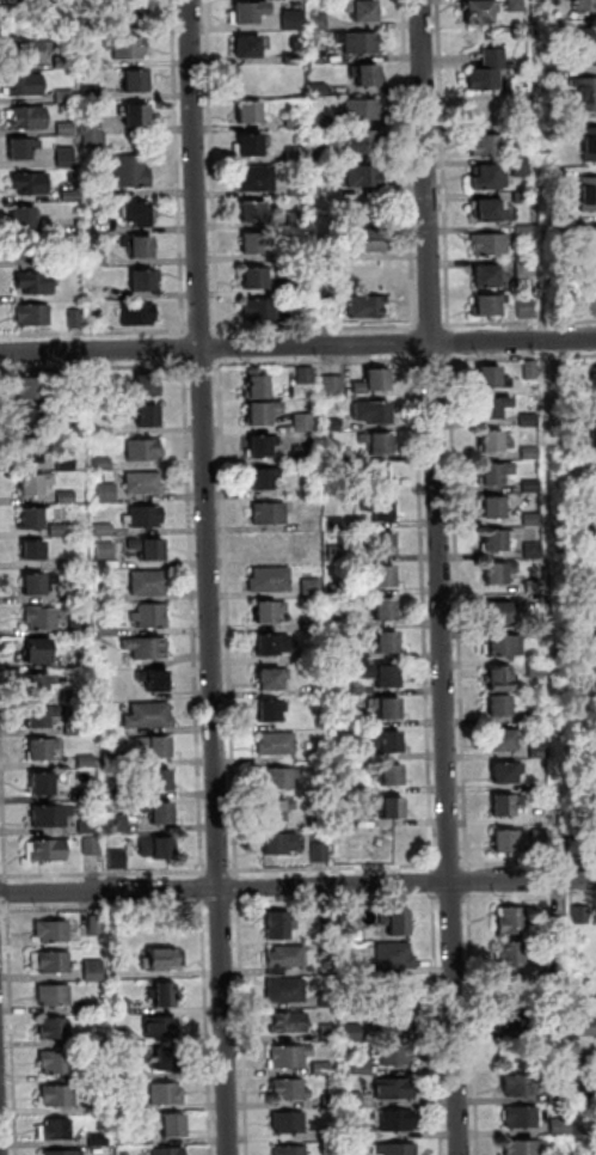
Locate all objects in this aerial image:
building: (61, 1)
building: (517, 6)
building: (135, 7)
building: (585, 7)
building: (365, 13)
building: (251, 14)
building: (478, 16)
building: (135, 20)
building: (295, 20)
building: (320, 22)
building: (361, 43)
building: (128, 49)
building: (250, 49)
building: (589, 50)
building: (32, 51)
building: (496, 59)
building: (295, 60)
building: (64, 63)
building: (557, 72)
building: (368, 75)
building: (486, 80)
building: (140, 82)
building: (26, 86)
building: (320, 90)
building: (92, 93)
building: (66, 96)
building: (585, 97)
building: (518, 98)
building: (362, 111)
building: (487, 114)
building: (251, 115)
building: (137, 116)
building: (27, 118)
building: (296, 122)
building: (321, 122)
building: (68, 129)
building: (522, 132)
building: (94, 134)
building: (364, 146)
building: (590, 146)
building: (251, 147)
building: (489, 147)
building: (24, 149)
building: (321, 153)
building: (297, 154)
building: (67, 157)
building: (523, 169)
building: (133, 172)
building: (559, 176)
building: (365, 178)
building: (258, 179)
building: (490, 181)
building: (32, 185)
building: (300, 189)
building: (97, 191)
building: (589, 195)
building: (73, 196)
building: (524, 197)
building: (257, 214)
building: (491, 214)
building: (139, 216)
building: (559, 218)
building: (26, 220)
building: (299, 220)
building: (98, 224)
building: (524, 231)
building: (370, 243)
building: (254, 245)
building: (491, 245)
building: (591, 245)
building: (141, 250)
building: (25, 252)
building: (331, 252)
building: (299, 255)
building: (97, 257)
building: (61, 261)
building: (527, 268)
building: (259, 279)
building: (487, 280)
building: (147, 282)
building: (37, 285)
building: (305, 286)
building: (104, 293)
building: (590, 297)
building: (490, 307)
building: (370, 308)
building: (527, 308)
building: (559, 308)
building: (266, 310)
building: (328, 311)
building: (33, 316)
building: (139, 316)
building: (78, 318)
building: (100, 319)
road: (297, 326)
road: (297, 346)
building: (533, 371)
building: (561, 373)
building: (307, 377)
building: (494, 380)
building: (595, 383)
building: (375, 384)
building: (76, 385)
building: (103, 385)
building: (334, 387)
building: (32, 389)
building: (258, 389)
building: (145, 390)
building: (494, 410)
building: (264, 415)
building: (374, 416)
building: (147, 417)
building: (32, 421)
building: (532, 421)
building: (306, 423)
building: (334, 426)
building: (76, 430)
building: (571, 441)
building: (592, 441)
building: (379, 445)
building: (492, 446)
building: (263, 448)
building: (146, 451)
building: (533, 454)
building: (306, 456)
building: (32, 457)
building: (334, 457)
building: (68, 463)
building: (104, 464)
building: (571, 469)
building: (497, 475)
building: (595, 478)
building: (265, 481)
building: (146, 484)
building: (36, 487)
building: (534, 487)
building: (107, 493)
building: (68, 497)
building: (497, 509)
building: (380, 512)
building: (272, 513)
building: (575, 517)
building: (146, 519)
building: (534, 520)
building: (36, 521)
building: (338, 524)
building: (595, 530)
building: (105, 531)
building: (62, 532)
building: (382, 544)
building: (497, 544)
building: (150, 551)
building: (535, 551)
building: (35, 552)
building: (338, 554)
building: (109, 557)
road: (211, 576)
building: (382, 576)
road: (443, 576)
building: (498, 576)
building: (271, 581)
building: (149, 585)
building: (41, 586)
building: (536, 586)
building: (314, 588)
building: (340, 591)
building: (109, 593)
building: (81, 597)
building: (383, 609)
building: (271, 612)
building: (498, 615)
building: (47, 618)
building: (152, 618)
building: (343, 623)
building: (317, 624)
building: (82, 627)
building: (109, 628)
building: (541, 630)
building: (595, 630)
building: (386, 642)
building: (274, 646)
building: (499, 648)
building: (148, 649)
building: (38, 654)
building: (85, 655)
building: (361, 655)
building: (312, 656)
building: (539, 670)
building: (383, 677)
building: (502, 680)
building: (272, 682)
building: (156, 683)
building: (345, 687)
building: (38, 689)
building: (75, 696)
building: (387, 708)
building: (502, 709)
building: (272, 713)
building: (541, 715)
building: (42, 717)
building: (150, 717)
building: (350, 719)
building: (322, 720)
building: (75, 729)
building: (388, 742)
building: (506, 742)
building: (278, 744)
building: (159, 748)
building: (47, 750)
building: (541, 752)
building: (349, 753)
building: (116, 760)
building: (88, 762)
building: (508, 775)
building: (282, 778)
building: (393, 778)
building: (161, 784)
building: (43, 788)
building: (351, 789)
building: (117, 795)
building: (85, 796)
building: (508, 807)
building: (278, 811)
building: (391, 811)
building: (160, 814)
building: (53, 818)
building: (365, 823)
building: (119, 825)
building: (324, 825)
building: (91, 829)
building: (582, 829)
building: (543, 839)
building: (392, 843)
building: (510, 843)
building: (282, 847)
building: (93, 849)
building: (158, 850)
building: (49, 851)
building: (321, 852)
building: (350, 852)
building: (118, 861)
road: (297, 887)
building: (583, 916)
building: (352, 918)
building: (512, 923)
building: (558, 925)
building: (397, 927)
building: (97, 928)
building: (281, 928)
building: (327, 930)
building: (56, 934)
building: (512, 957)
building: (395, 958)
building: (287, 959)
building: (162, 964)
building: (557, 964)
building: (51, 965)
building: (356, 968)
building: (96, 971)
building: (287, 992)
building: (56, 997)
building: (165, 997)
building: (331, 1001)
building: (92, 1008)
building: (123, 1008)
building: (515, 1023)
building: (290, 1025)
building: (399, 1025)
building: (586, 1028)
building: (161, 1029)
building: (56, 1031)
building: (561, 1031)
building: (354, 1033)
building: (332, 1034)
building: (122, 1038)
building: (398, 1058)
building: (290, 1059)
building: (586, 1061)
building: (165, 1062)
building: (57, 1064)
building: (324, 1069)
building: (364, 1069)
building: (99, 1074)
building: (521, 1087)
building: (395, 1090)
building: (290, 1093)
building: (560, 1094)
building: (167, 1096)
building: (59, 1098)
building: (355, 1100)
building: (333, 1102)
building: (127, 1105)
building: (99, 1107)
building: (522, 1119)
building: (399, 1122)
building: (290, 1125)
building: (172, 1127)
building: (563, 1127)
building: (589, 1130)
building: (57, 1131)
building: (358, 1131)
building: (334, 1136)
building: (100, 1139)
building: (127, 1139)
building: (527, 1148)
road: (0, 1149)
building: (398, 1150)
building: (170, 1151)
building: (291, 1151)
building: (64, 1154)

